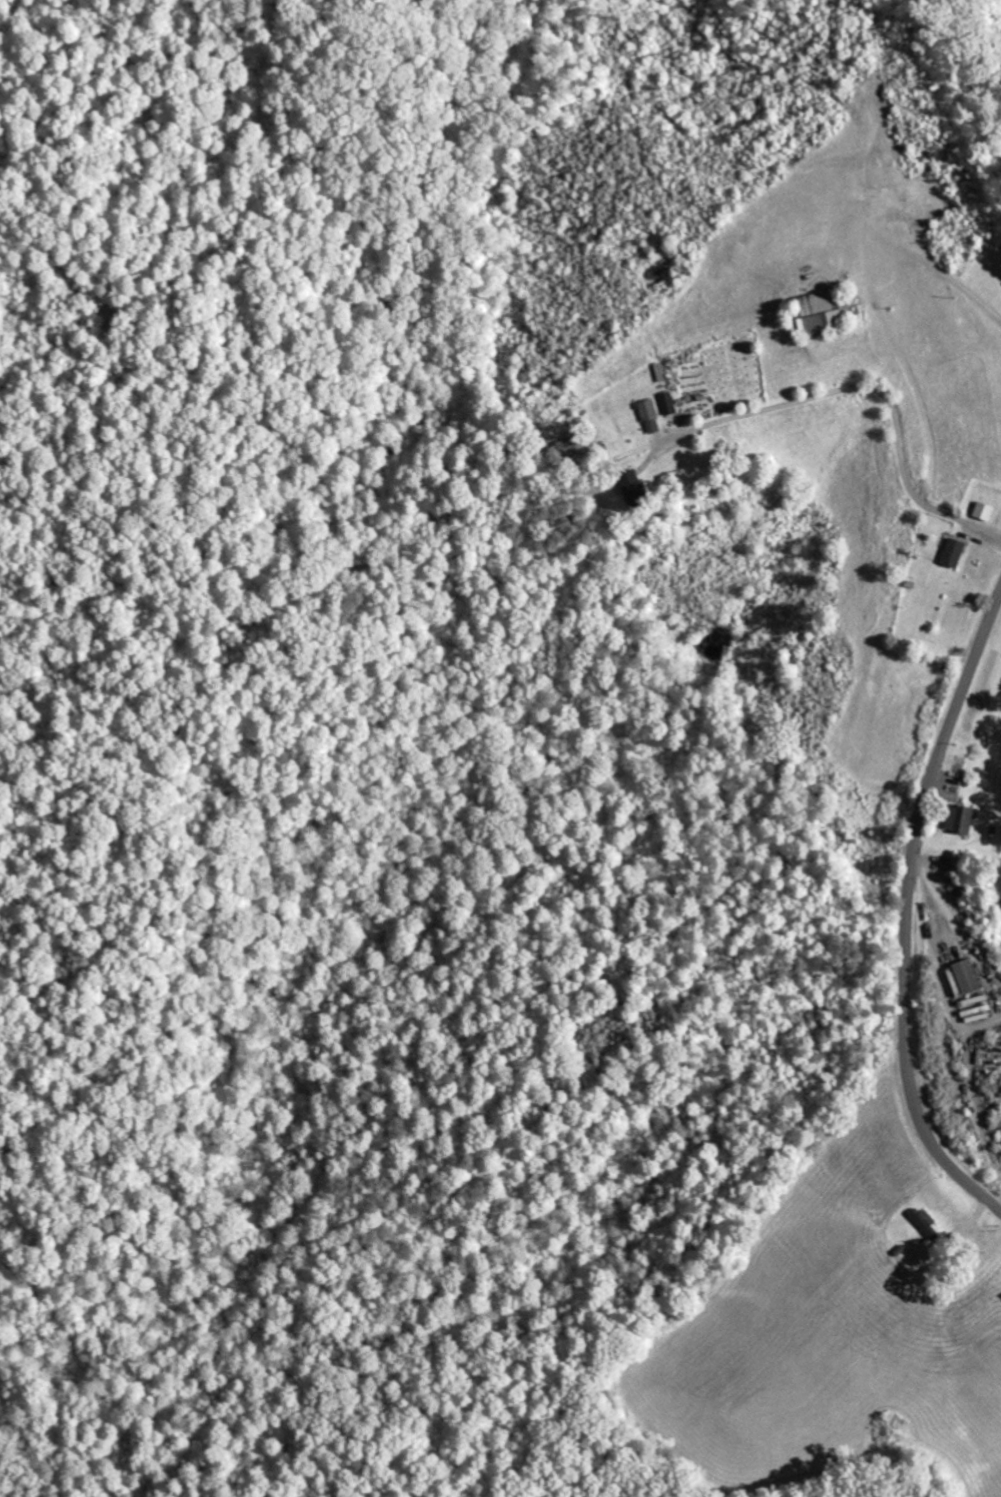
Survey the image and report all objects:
building: (821, 311)
building: (666, 402)
building: (648, 415)
building: (627, 481)
building: (981, 510)
building: (950, 552)
building: (957, 819)
road: (907, 912)
building: (960, 977)
building: (922, 1223)

